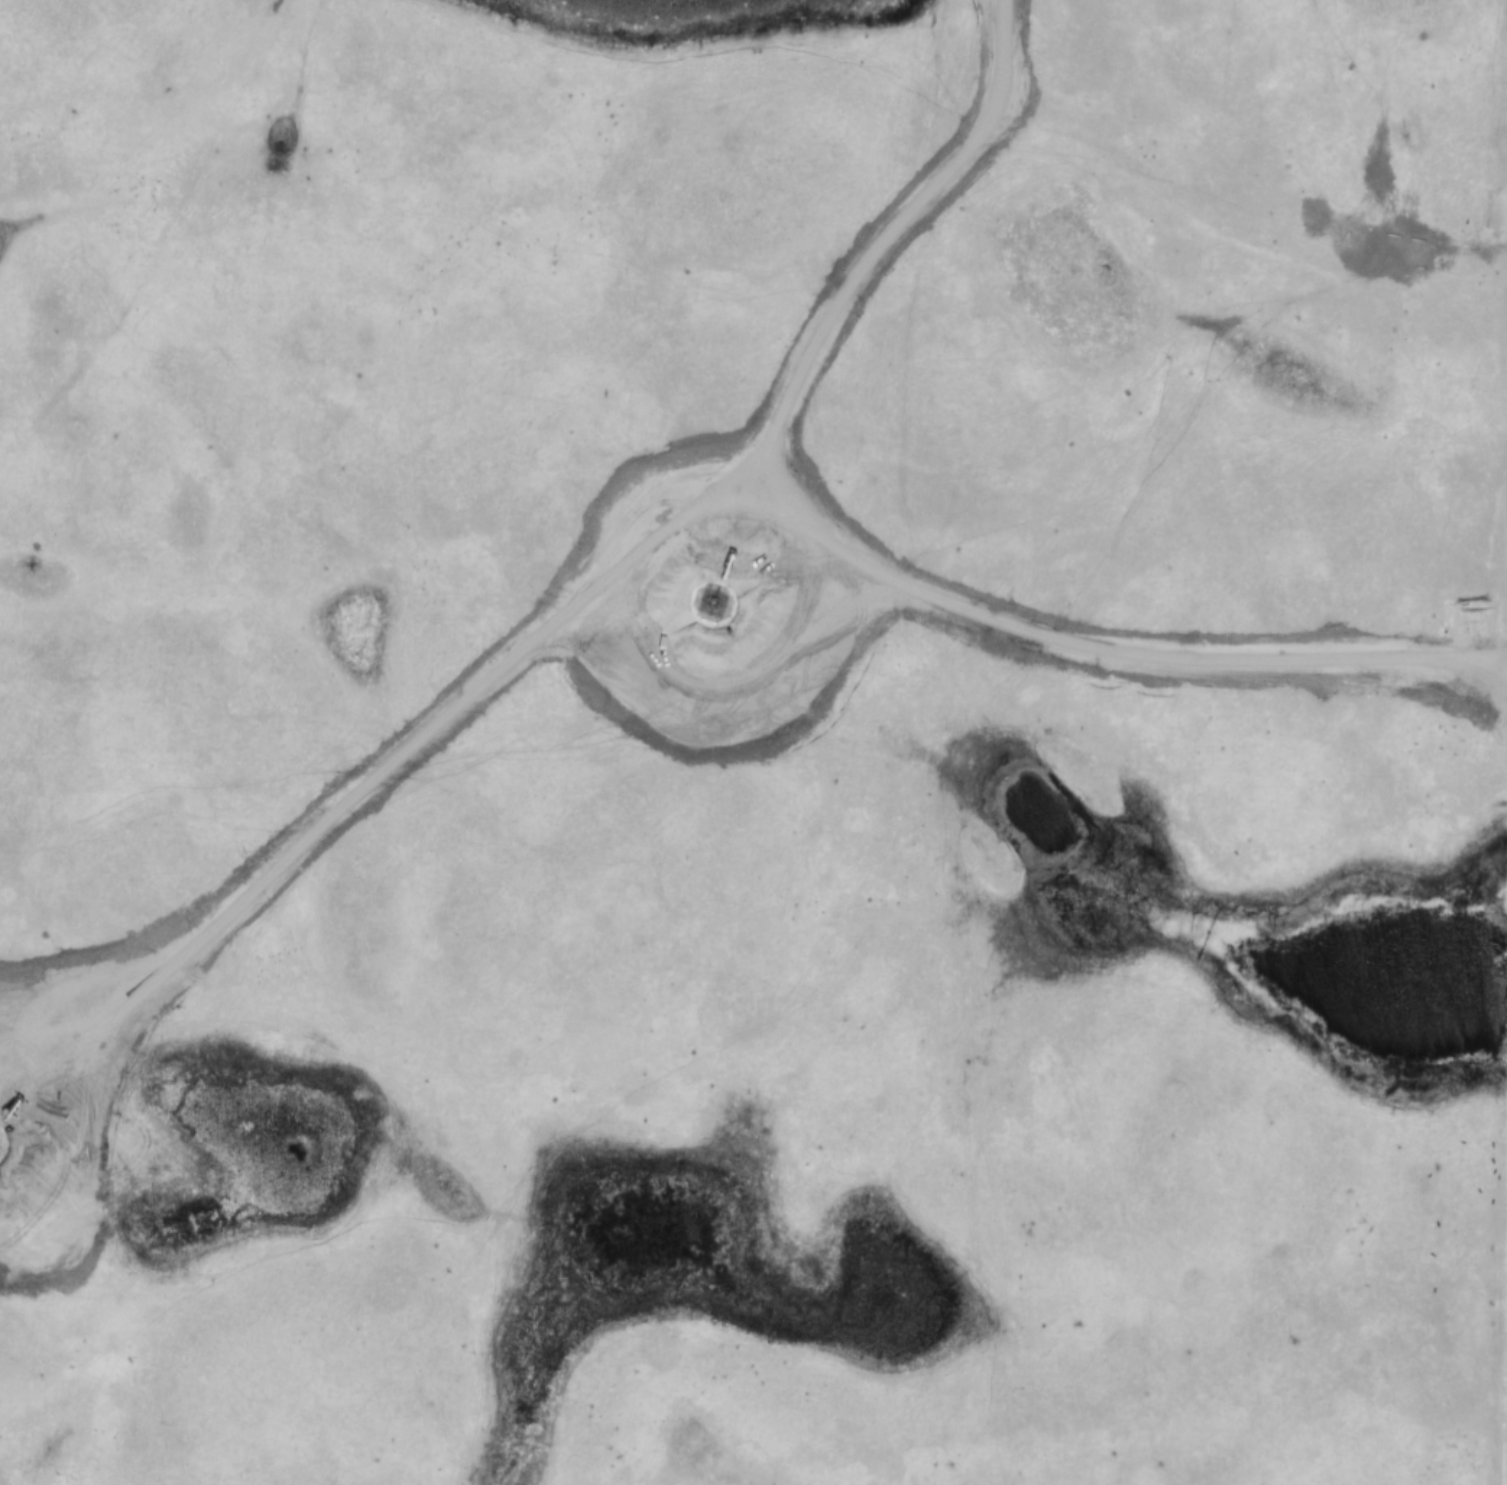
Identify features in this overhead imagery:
wind turbine: (714, 604)

